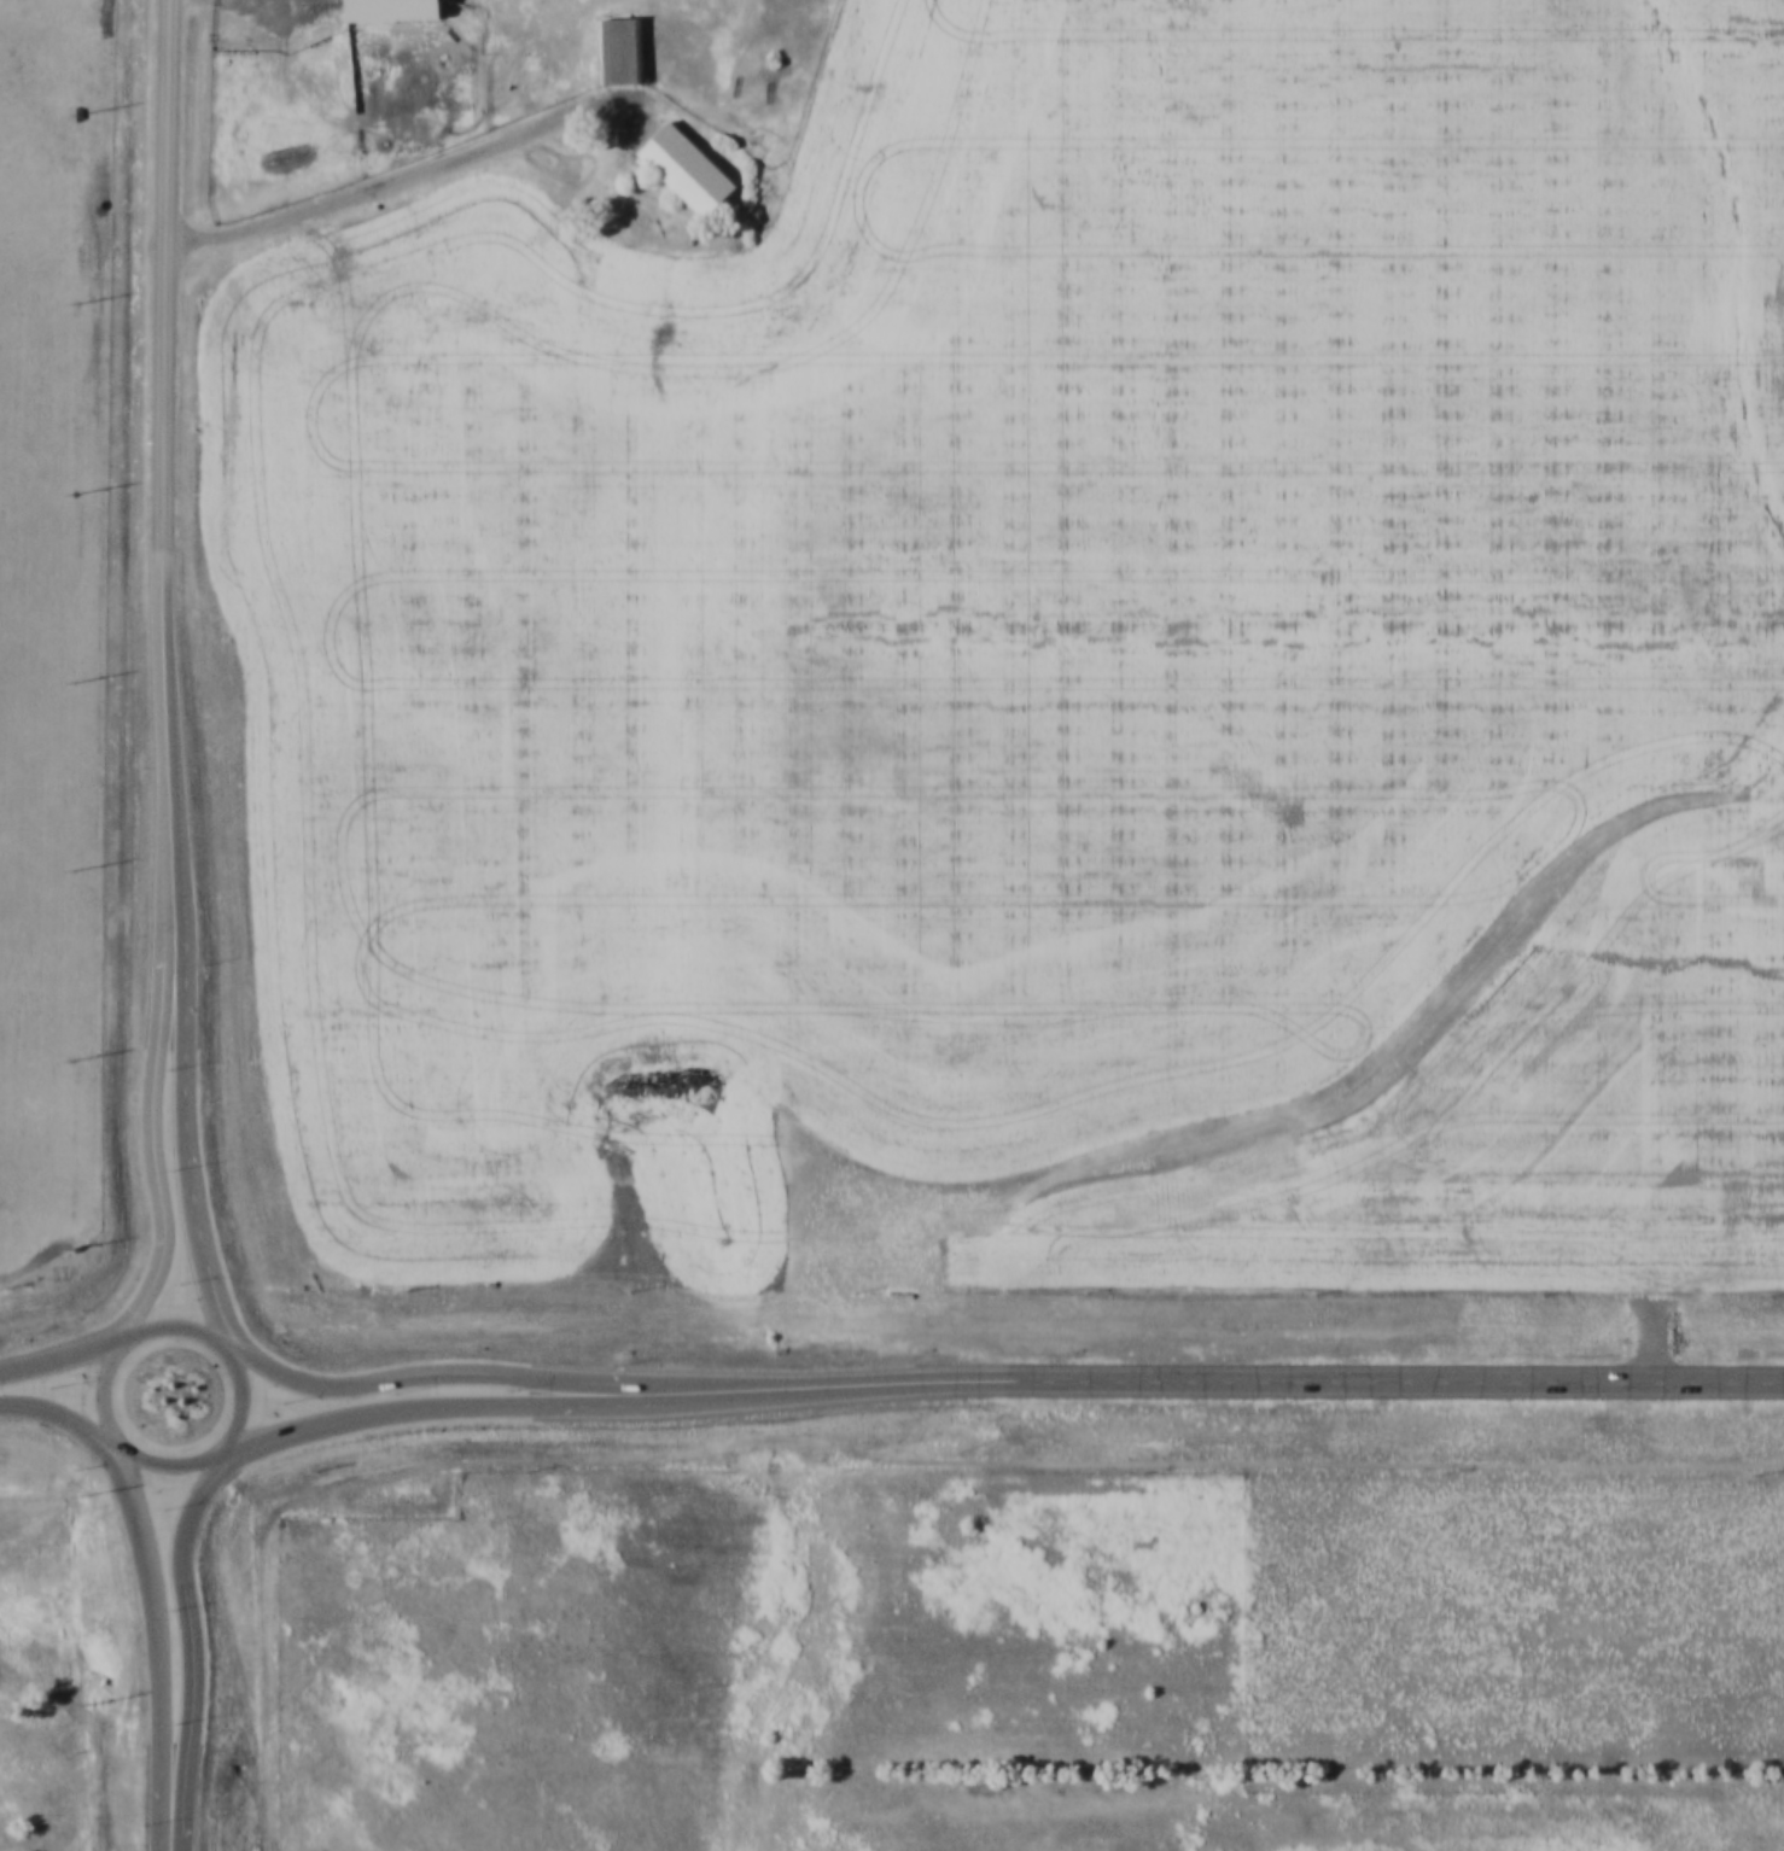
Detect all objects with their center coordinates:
building: (396, 8)
building: (622, 48)
road: (396, 164)
road: (163, 273)
road: (169, 763)
road: (186, 1163)
road: (156, 1166)
road: (1226, 1385)
road: (103, 1392)
road: (326, 1392)
road: (241, 1403)
road: (325, 1429)
road: (167, 1636)
road: (196, 1645)
road: (171, 1845)

